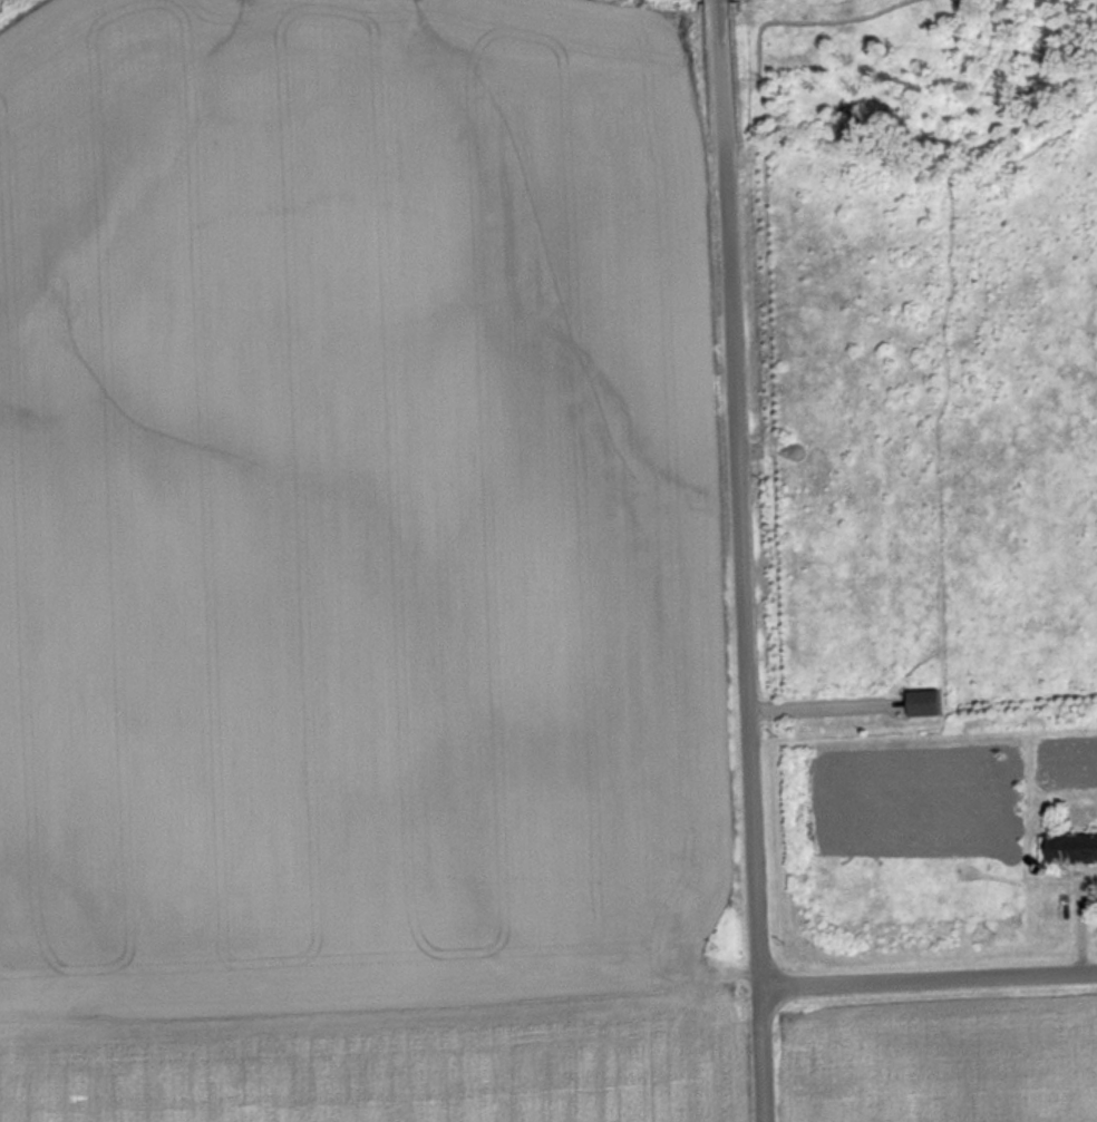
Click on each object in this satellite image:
road: (719, 1)
road: (742, 562)
building: (925, 703)
building: (1075, 850)
road: (929, 980)

